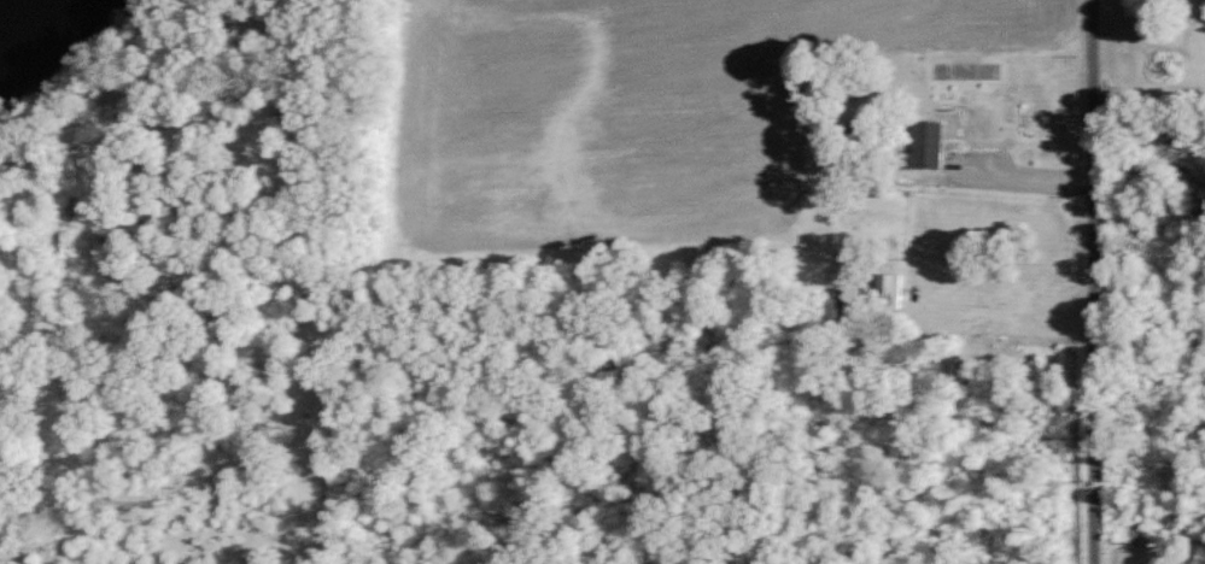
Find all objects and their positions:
road: (1148, 82)
building: (934, 146)
road: (1019, 165)
road: (1094, 281)

